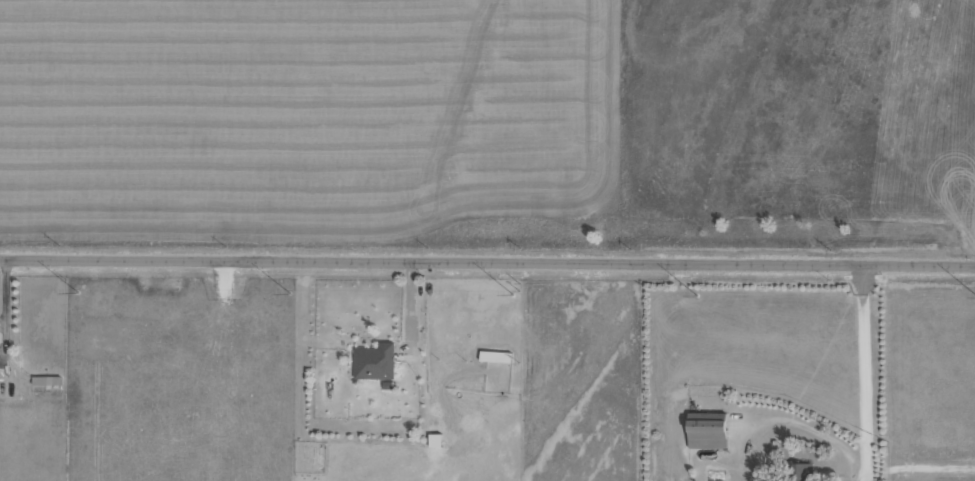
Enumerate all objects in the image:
road: (487, 260)
power tower: (72, 291)
power tower: (285, 291)
power tower: (509, 293)
power tower: (694, 294)
building: (494, 356)
building: (374, 361)
building: (706, 430)
building: (796, 471)

